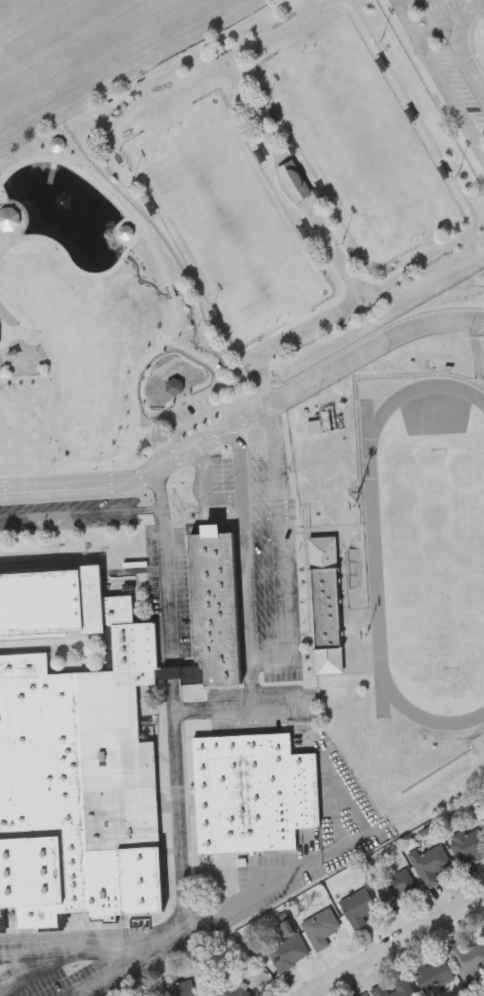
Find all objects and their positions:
road: (406, 3)
parking lot: (450, 14)
road: (460, 43)
road: (440, 76)
park: (359, 141)
building: (294, 182)
park: (227, 221)
park: (222, 241)
building: (175, 387)
road: (246, 420)
building: (315, 429)
building: (0, 458)
road: (205, 491)
road: (82, 512)
building: (326, 603)
road: (278, 657)
road: (174, 699)
road: (240, 705)
building: (94, 738)
building: (253, 792)
building: (470, 844)
building: (430, 863)
building: (221, 877)
road: (275, 880)
building: (396, 885)
building: (357, 906)
building: (322, 927)
road: (75, 941)
road: (395, 945)
building: (288, 946)
building: (468, 952)
road: (127, 961)
road: (45, 967)
building: (434, 973)
building: (179, 987)
building: (394, 988)
building: (230, 990)
building: (366, 995)

